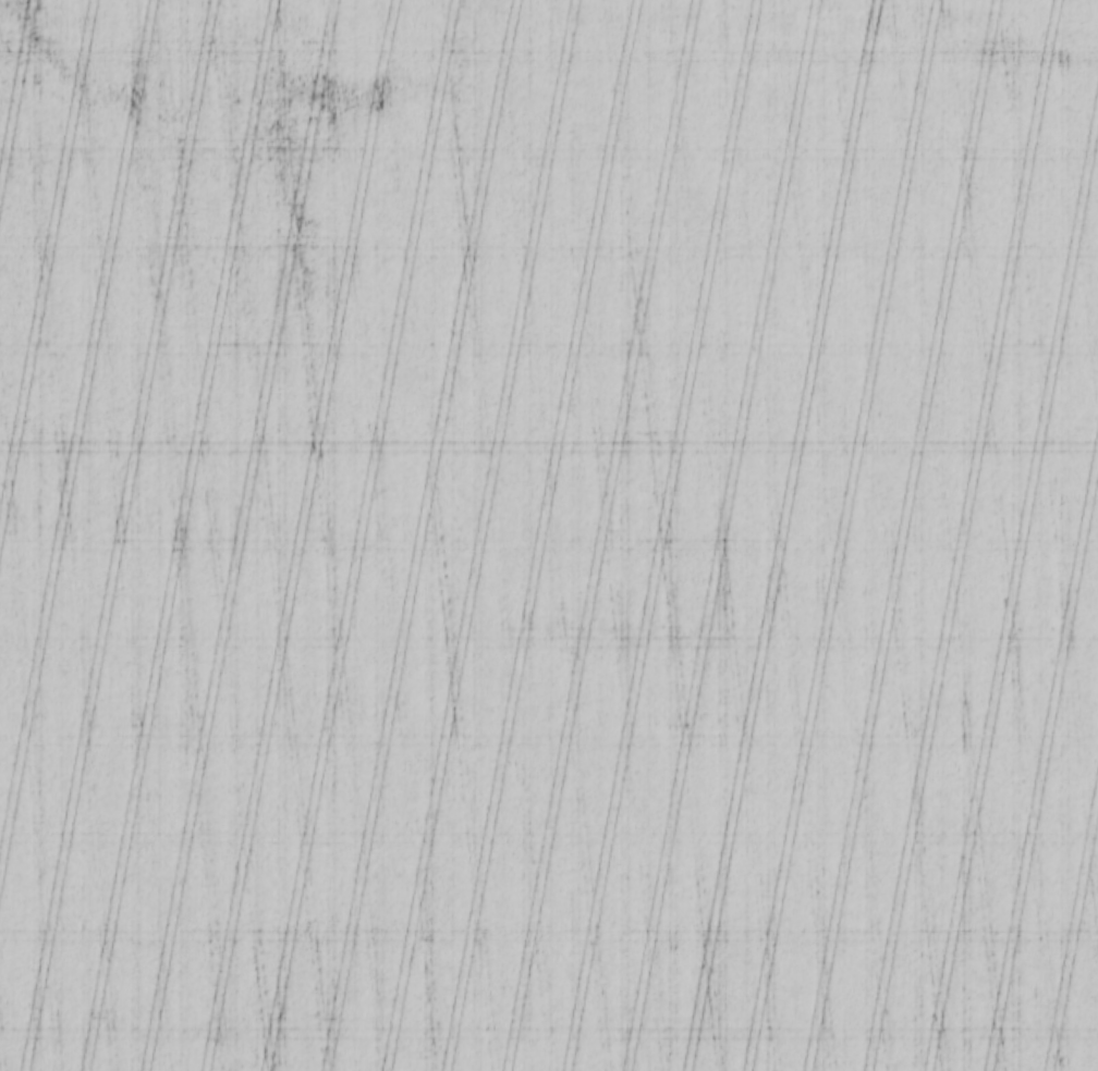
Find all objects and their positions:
crop: (549, 535)

